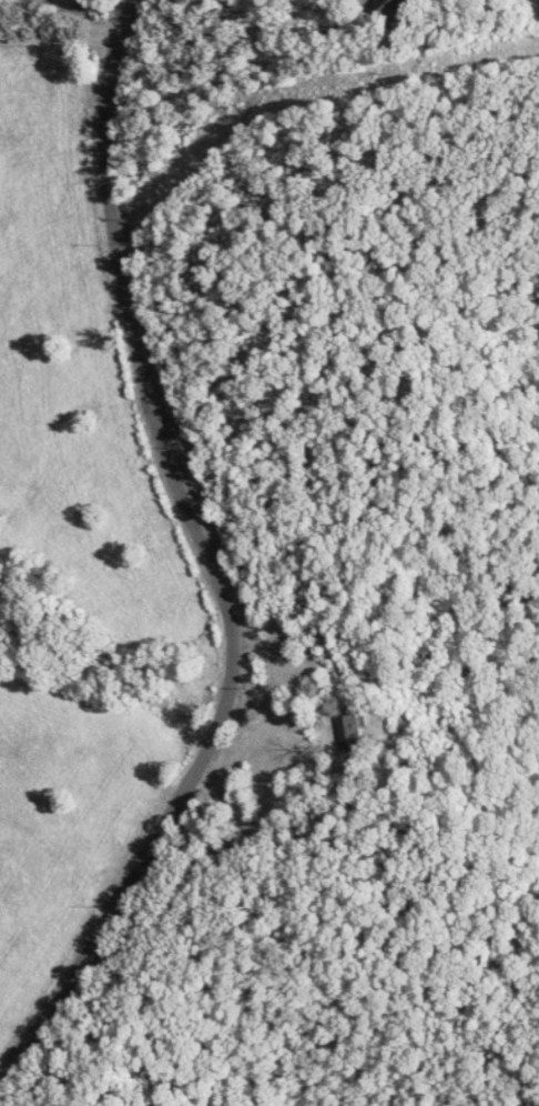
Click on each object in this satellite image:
building: (408, 6)
road: (62, 21)
road: (58, 39)
road: (210, 561)
building: (353, 733)

